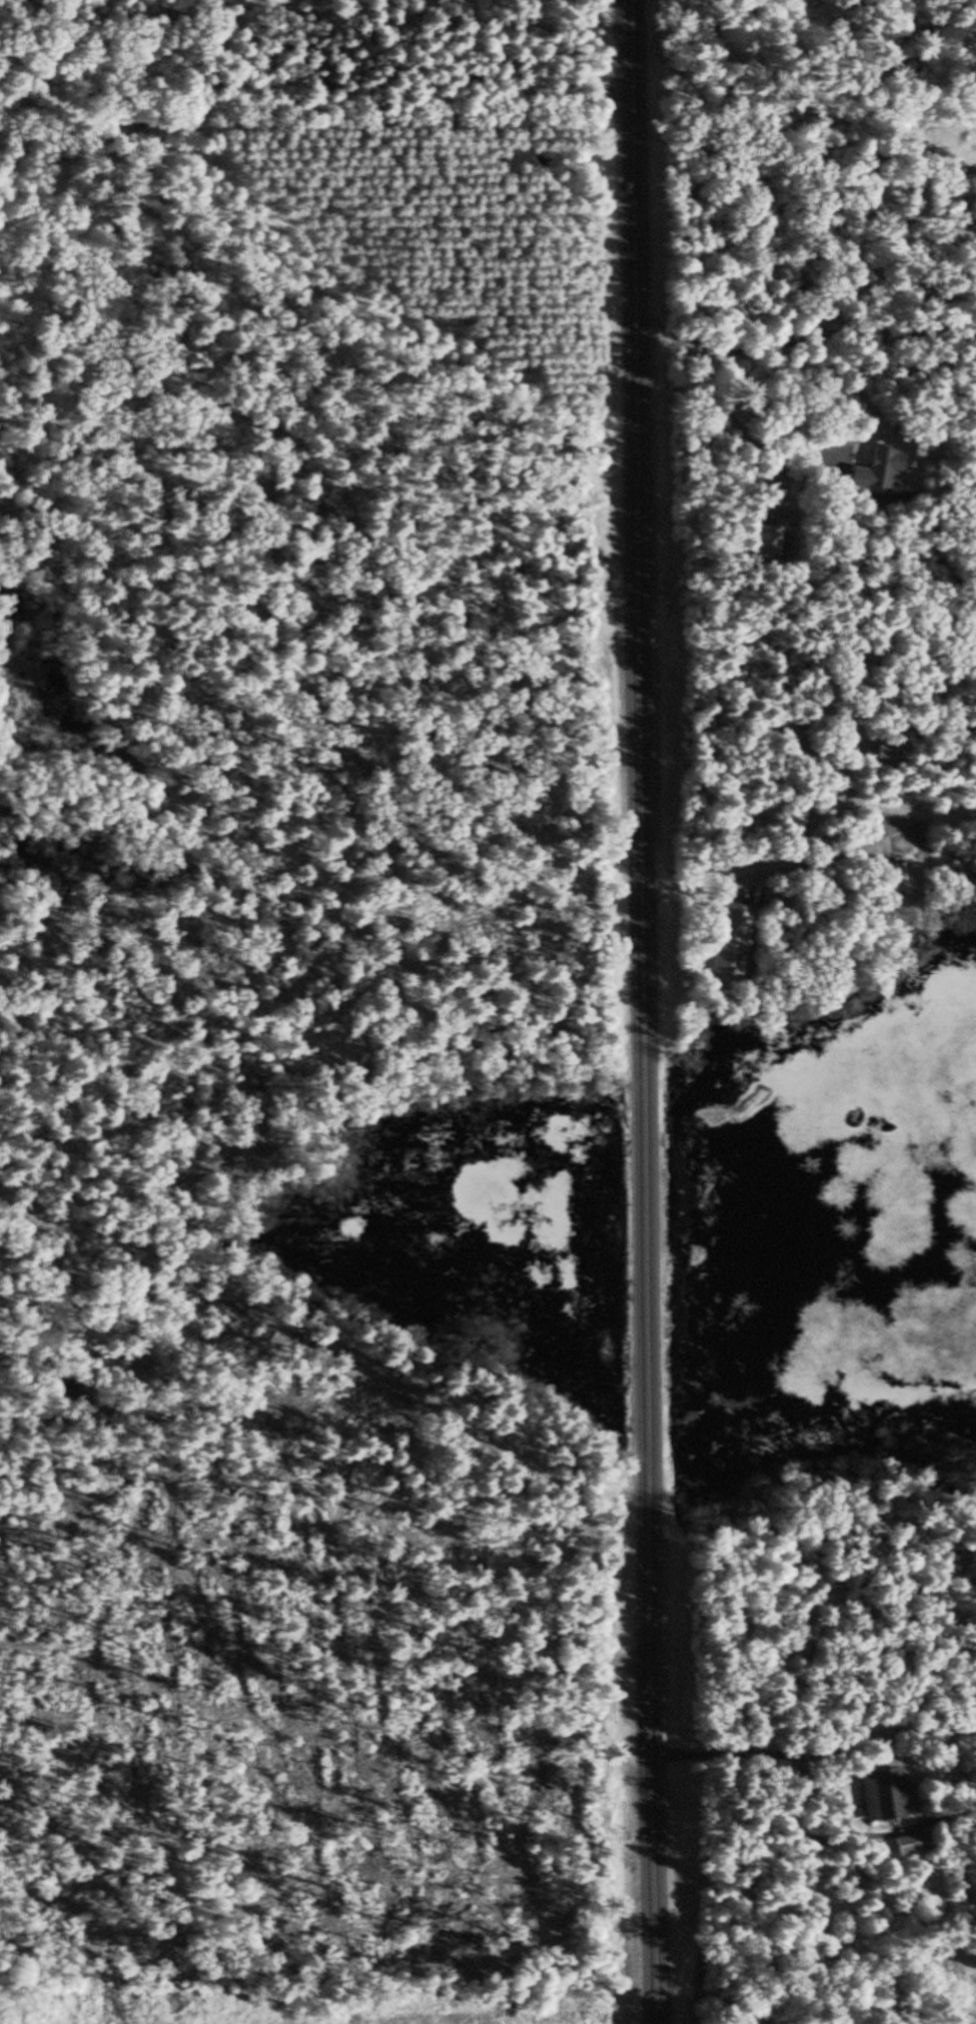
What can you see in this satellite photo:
road: (713, 389)
building: (875, 470)
building: (768, 541)
building: (849, 662)
building: (886, 752)
road: (805, 829)
building: (891, 876)
building: (728, 941)
road: (645, 1011)
building: (877, 1795)
building: (898, 1846)

